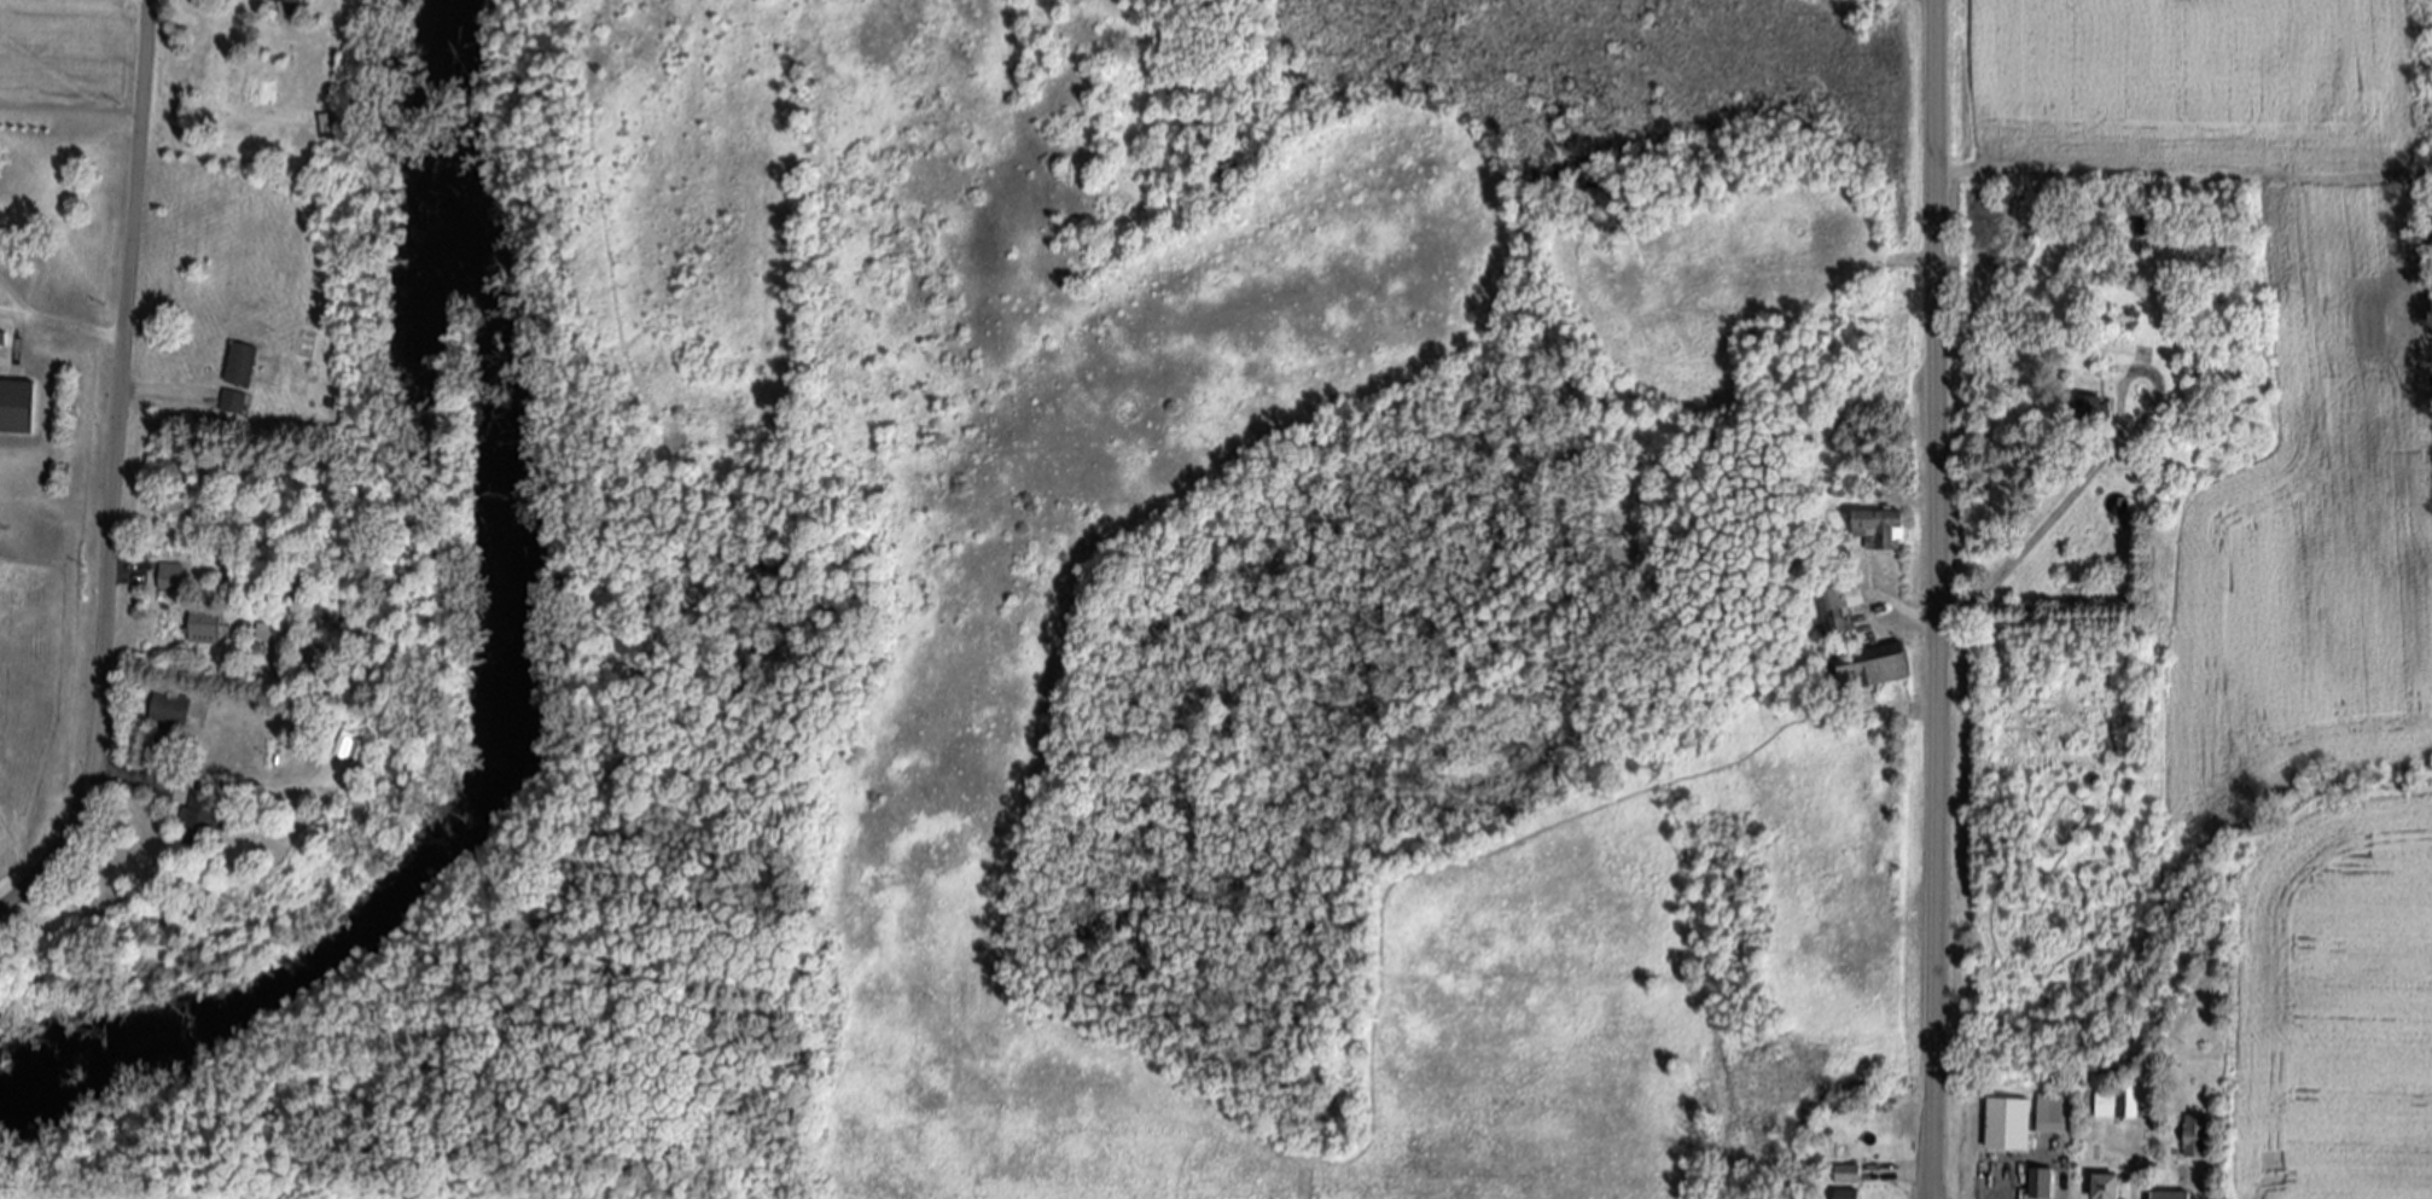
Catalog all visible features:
building: (297, 0)
building: (331, 126)
road: (13, 302)
road: (13, 315)
road: (75, 330)
building: (243, 365)
road: (162, 392)
building: (234, 402)
building: (17, 407)
building: (2089, 412)
building: (2137, 467)
road: (115, 470)
building: (1884, 528)
road: (2009, 569)
road: (121, 571)
building: (171, 576)
road: (1934, 599)
building: (1843, 606)
building: (205, 628)
building: (1878, 665)
building: (171, 709)
road: (210, 781)
building: (206, 819)
building: (2122, 1100)
building: (2055, 1112)
building: (2012, 1123)
building: (2199, 1134)
building: (1849, 1174)
building: (2112, 1186)
building: (1851, 1194)
building: (2176, 1194)

